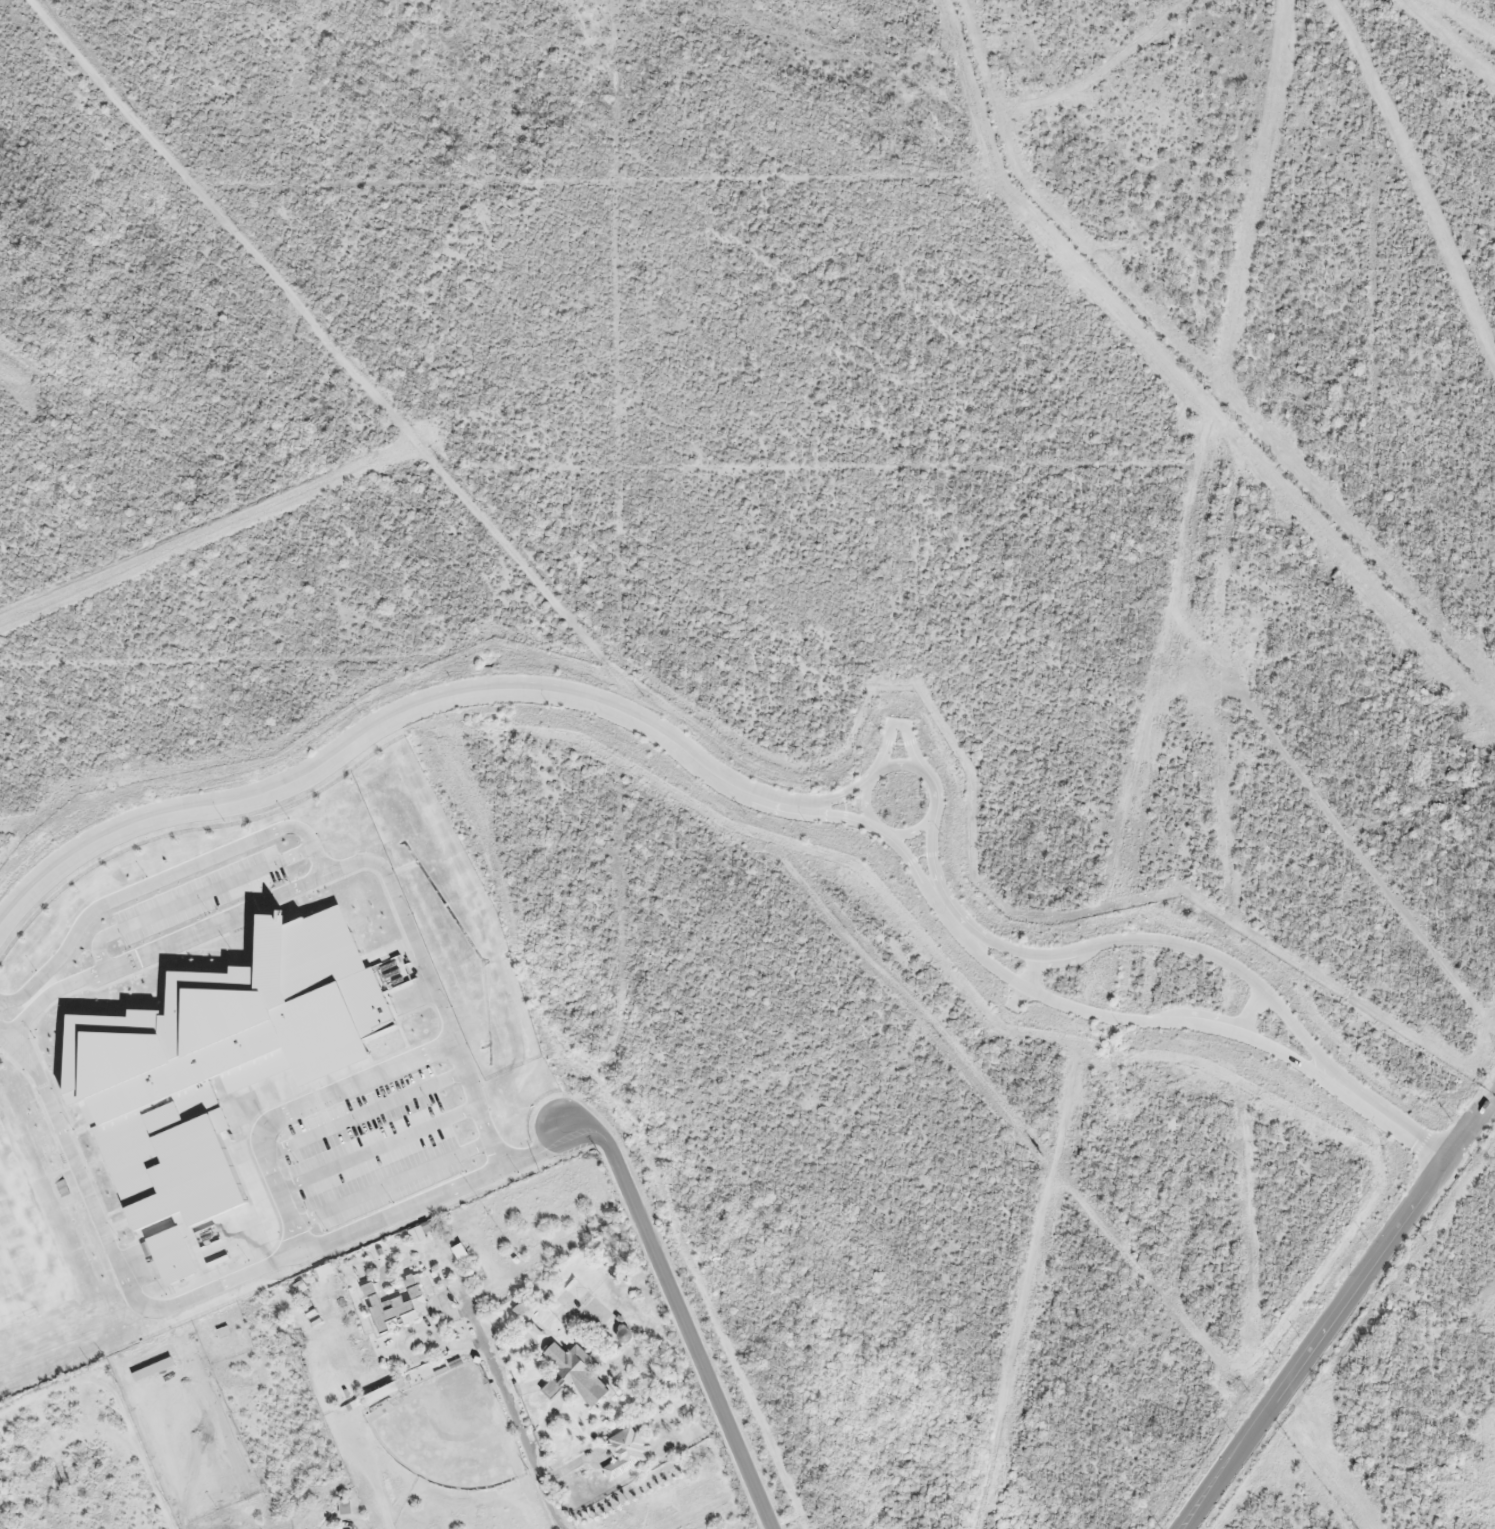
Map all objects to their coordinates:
road: (889, 738)
road: (906, 740)
road: (695, 762)
road: (305, 775)
road: (834, 797)
road: (780, 803)
road: (865, 811)
road: (835, 814)
road: (931, 848)
road: (911, 861)
road: (378, 867)
road: (158, 879)
road: (190, 898)
road: (947, 910)
road: (1171, 942)
road: (1137, 1020)
road: (12, 1024)
building: (206, 1067)
road: (291, 1107)
road: (361, 1116)
road: (1390, 1118)
parking lot: (377, 1143)
road: (375, 1150)
road: (388, 1181)
park: (39, 1257)
road: (186, 1294)
road: (1340, 1304)
building: (389, 1310)
road: (681, 1315)
building: (576, 1372)
building: (551, 1389)
road: (507, 1414)
building: (624, 1453)
building: (20, 1493)
building: (345, 1509)

